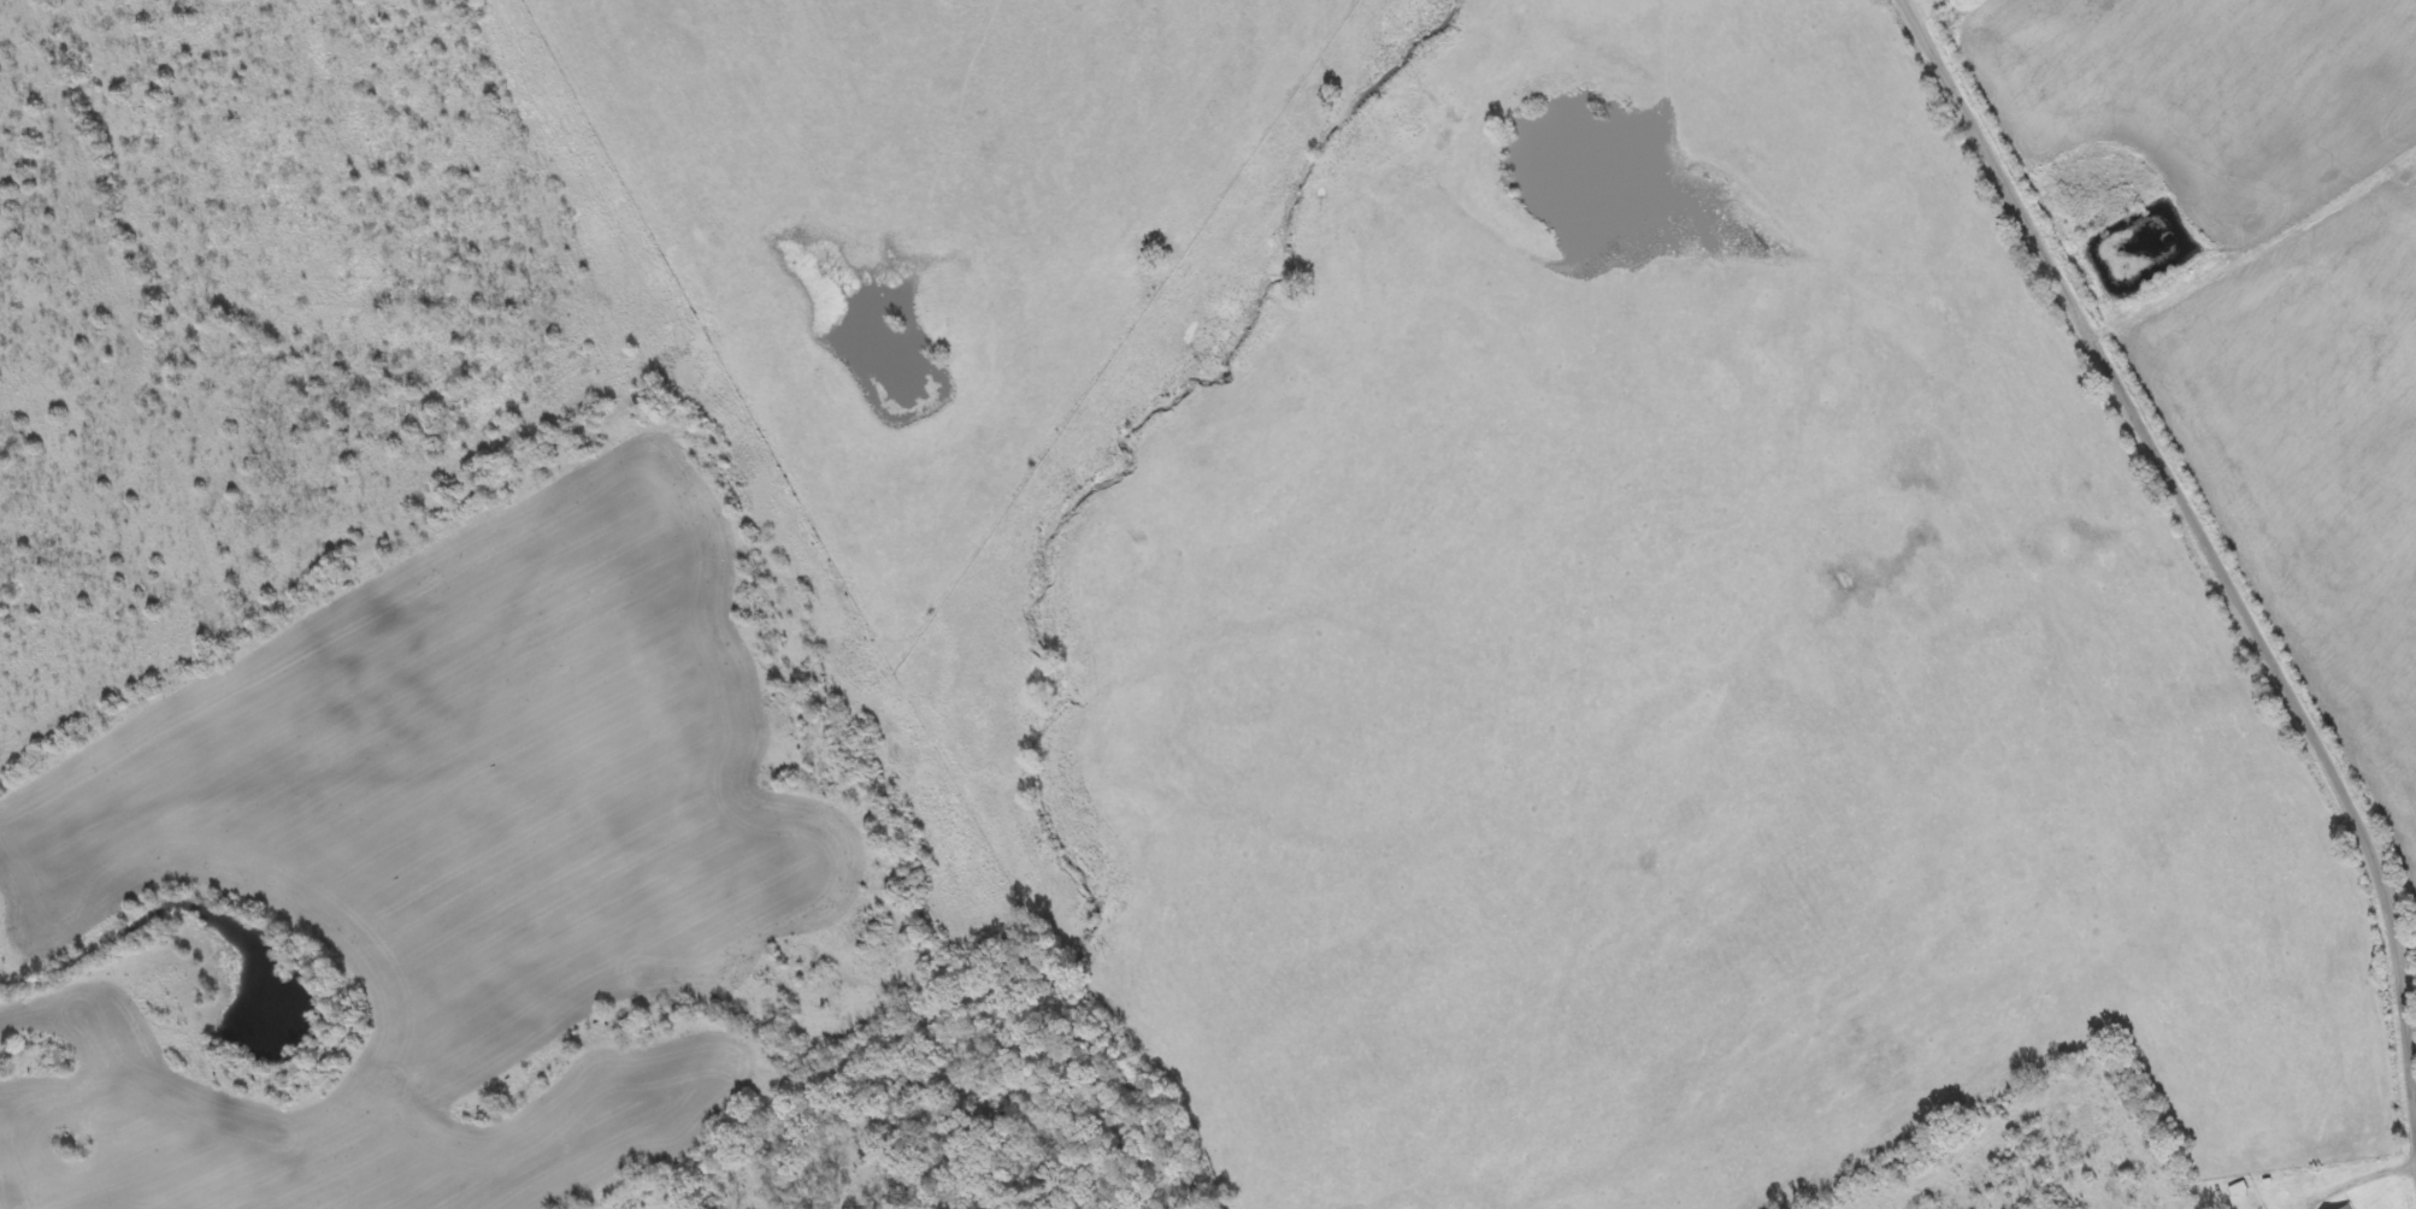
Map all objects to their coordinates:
road: (2200, 524)

